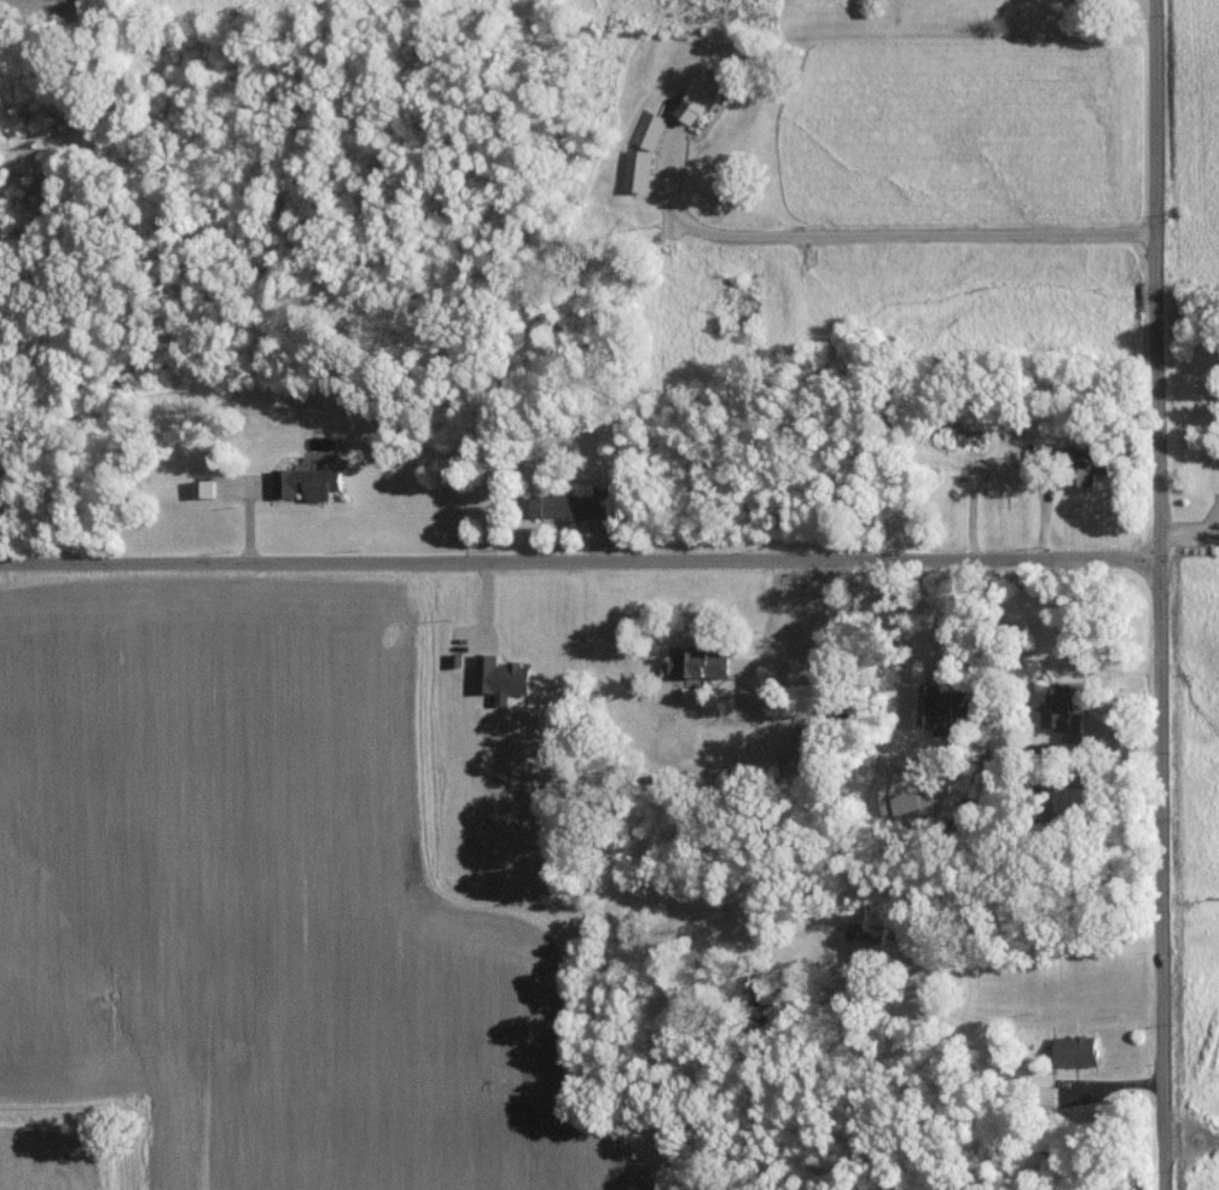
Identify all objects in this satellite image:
road: (1138, 6)
building: (698, 98)
building: (649, 129)
building: (638, 169)
road: (884, 237)
building: (1092, 462)
building: (307, 482)
building: (203, 488)
building: (571, 505)
road: (577, 562)
road: (1156, 594)
building: (698, 662)
building: (500, 677)
road: (780, 697)
building: (941, 704)
building: (1063, 715)
building: (910, 793)
building: (1075, 1050)

